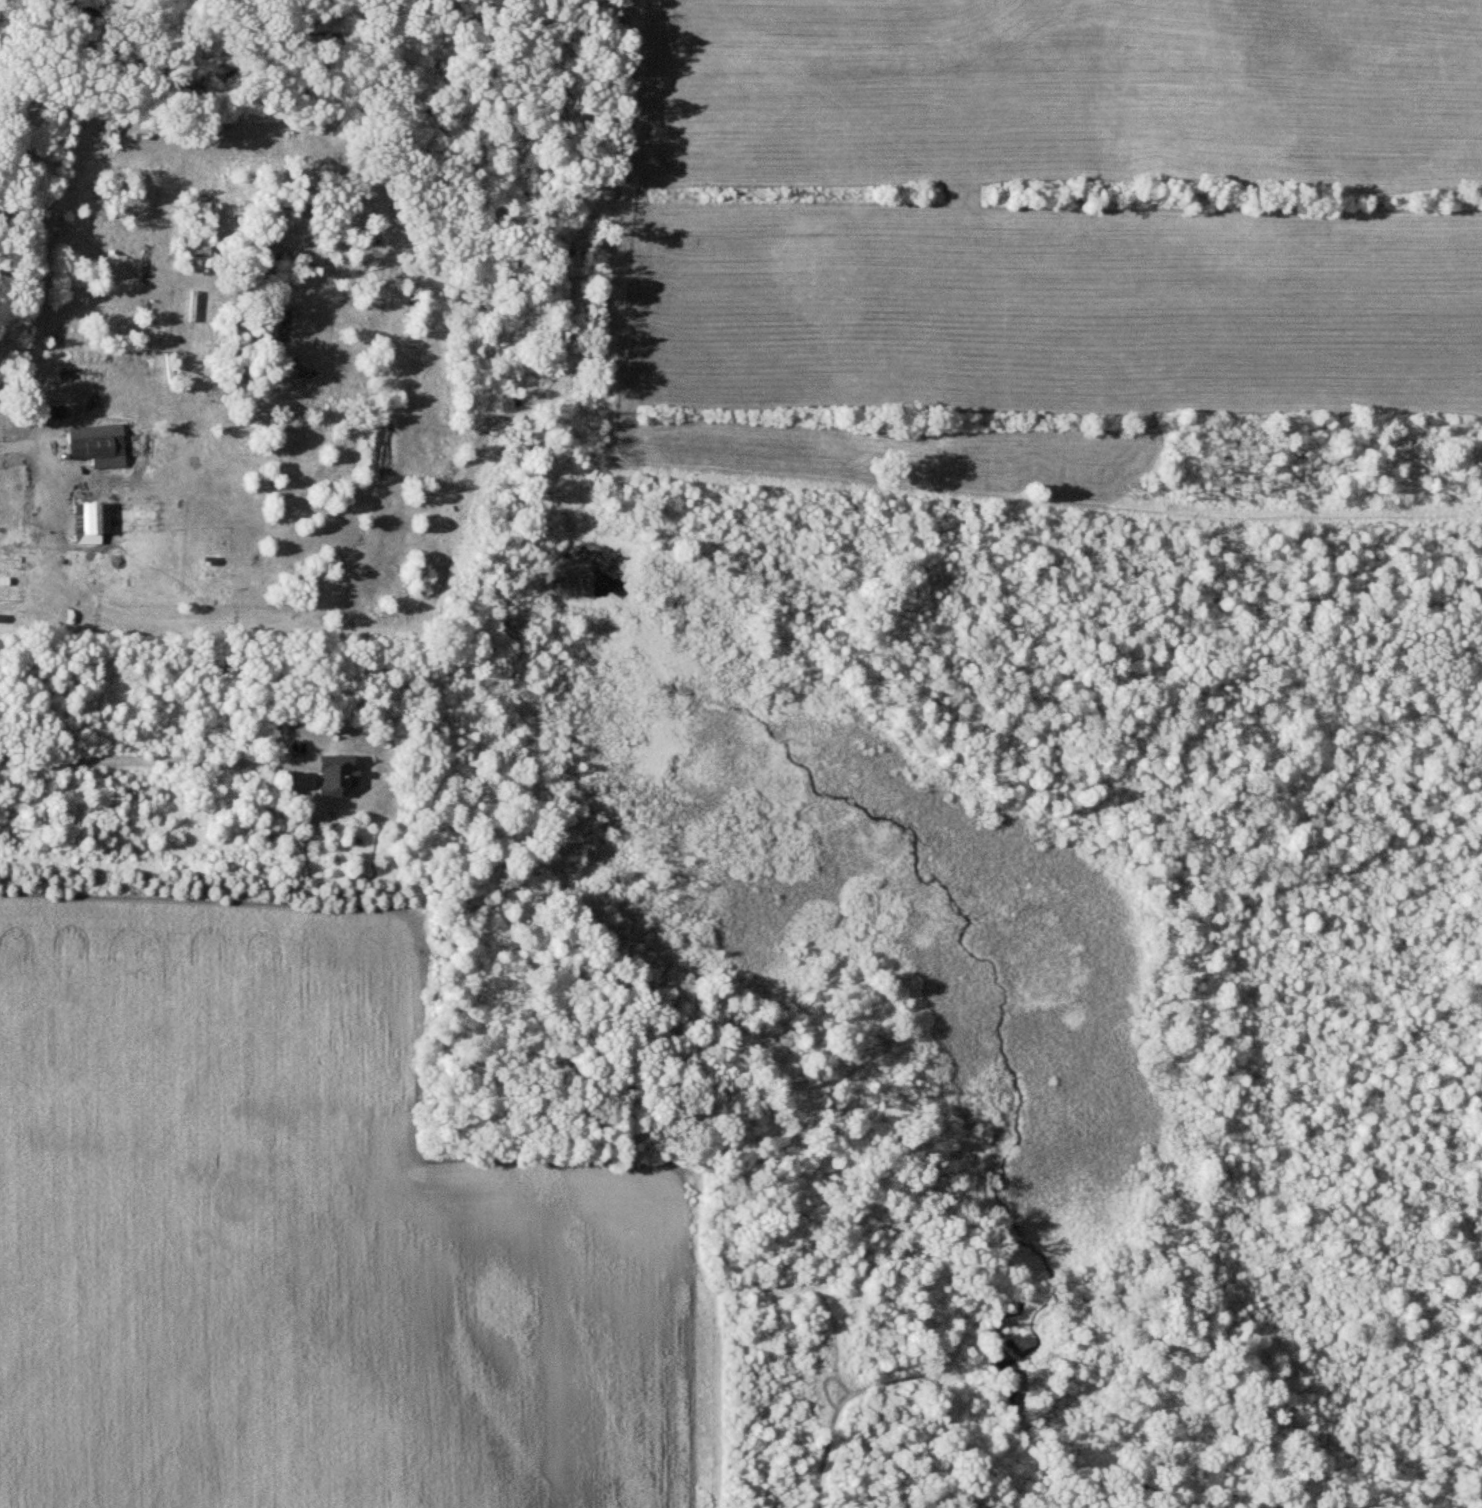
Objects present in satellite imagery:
building: (97, 445)
building: (91, 523)
building: (334, 774)

